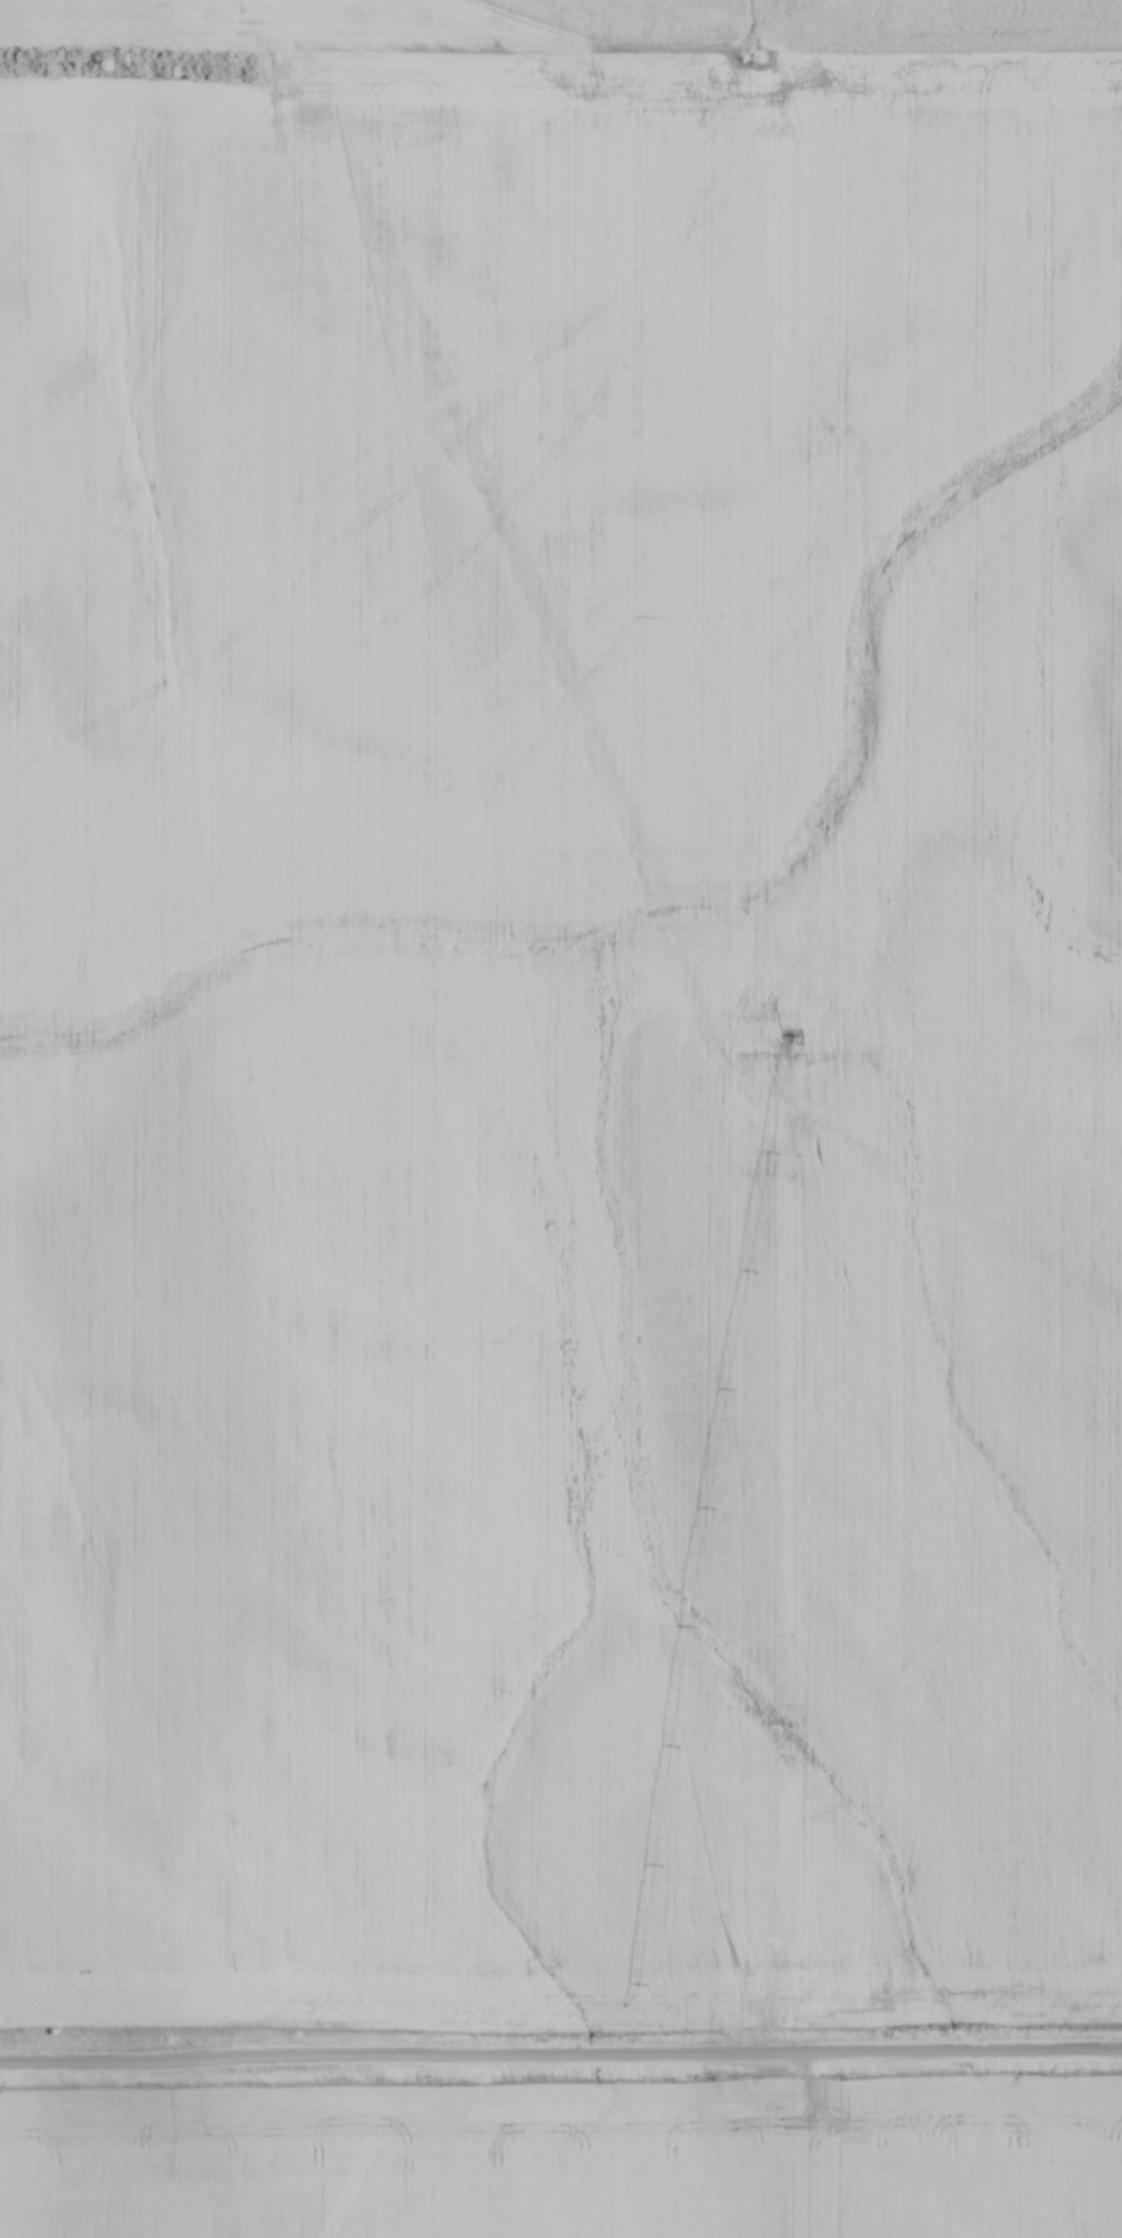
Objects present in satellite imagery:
road: (560, 2061)

